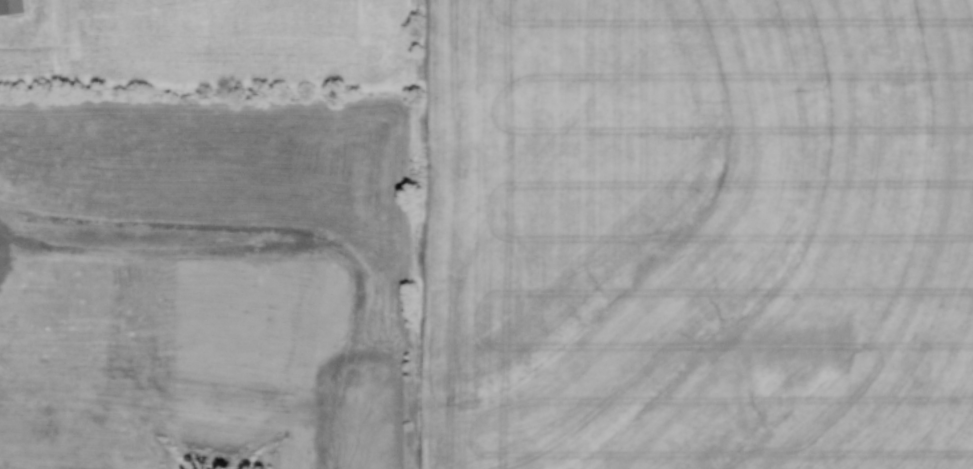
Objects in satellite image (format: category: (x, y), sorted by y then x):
building: (11, 6)

